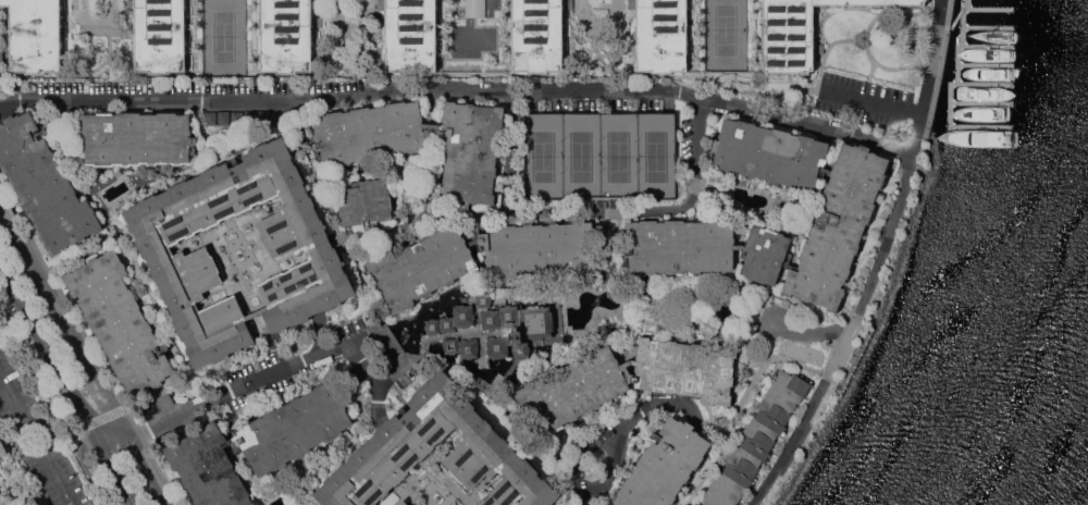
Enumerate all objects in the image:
pier: (966, 4)
building: (474, 8)
pier: (989, 9)
road: (957, 15)
pier: (987, 26)
building: (799, 32)
building: (36, 35)
building: (161, 35)
building: (287, 35)
building: (412, 35)
building: (539, 35)
building: (663, 35)
road: (864, 38)
road: (912, 46)
pier: (987, 46)
building: (1, 52)
road: (829, 53)
pier: (985, 63)
road: (940, 69)
pier: (984, 83)
road: (437, 87)
pier: (950, 91)
pier: (980, 101)
road: (922, 108)
building: (138, 137)
road: (881, 140)
road: (904, 146)
park: (599, 152)
building: (45, 183)
building: (367, 206)
building: (845, 211)
road: (593, 213)
building: (159, 251)
building: (453, 319)
building: (121, 322)
building: (515, 325)
road: (844, 330)
road: (805, 333)
road: (421, 344)
building: (461, 346)
road: (81, 357)
road: (455, 369)
road: (753, 375)
road: (373, 377)
building: (630, 378)
road: (71, 384)
road: (243, 384)
road: (96, 419)
road: (626, 424)
road: (38, 436)
building: (409, 436)
building: (757, 439)
building: (258, 445)
building: (5, 453)
building: (665, 465)
road: (4, 495)
building: (34, 502)
building: (405, 502)

